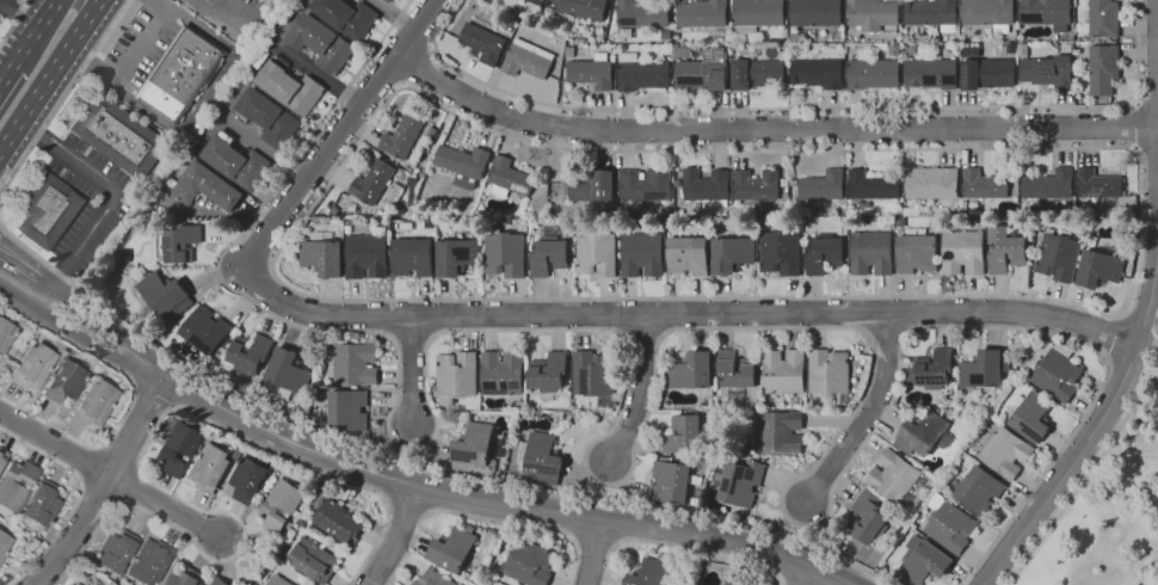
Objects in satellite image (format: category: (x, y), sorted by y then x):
building: (388, 0)
road: (8, 2)
building: (530, 5)
parking lot: (6, 8)
building: (583, 8)
road: (19, 11)
building: (643, 13)
building: (703, 13)
building: (815, 13)
building: (873, 13)
building: (988, 13)
building: (1046, 13)
building: (757, 14)
building: (934, 14)
road: (394, 16)
building: (347, 17)
building: (1103, 18)
building: (452, 20)
road: (13, 21)
road: (37, 25)
building: (677, 35)
building: (795, 36)
building: (321, 43)
building: (483, 43)
building: (895, 49)
building: (1023, 49)
building: (571, 50)
building: (677, 50)
building: (528, 59)
road: (127, 61)
road: (418, 66)
building: (1103, 68)
building: (591, 70)
building: (1047, 70)
building: (704, 72)
building: (987, 72)
road: (6, 73)
building: (181, 73)
building: (642, 73)
building: (758, 73)
building: (818, 73)
building: (874, 73)
building: (931, 73)
road: (319, 74)
road: (50, 79)
building: (290, 86)
road: (205, 91)
road: (64, 97)
road: (1146, 103)
road: (800, 106)
building: (269, 118)
road: (1134, 128)
building: (426, 129)
road: (769, 129)
road: (339, 135)
building: (119, 136)
building: (405, 140)
road: (266, 147)
road: (1146, 152)
building: (235, 161)
building: (463, 164)
building: (509, 178)
building: (794, 181)
building: (677, 183)
building: (784, 183)
building: (932, 183)
building: (375, 184)
building: (984, 184)
building: (1048, 184)
building: (1098, 184)
building: (756, 185)
building: (823, 185)
building: (871, 185)
building: (645, 186)
building: (207, 187)
building: (591, 187)
building: (707, 187)
road: (112, 197)
building: (1127, 198)
building: (49, 210)
building: (333, 210)
building: (362, 215)
building: (349, 229)
building: (177, 244)
building: (1006, 248)
building: (550, 252)
building: (780, 252)
building: (871, 252)
building: (963, 252)
building: (824, 253)
building: (917, 253)
building: (322, 254)
building: (367, 254)
building: (505, 254)
building: (596, 254)
building: (642, 254)
building: (732, 254)
building: (412, 255)
building: (688, 255)
building: (457, 257)
building: (1058, 257)
building: (1101, 266)
road: (17, 282)
building: (162, 295)
road: (1033, 298)
road: (682, 315)
building: (205, 330)
building: (6, 334)
building: (247, 356)
road: (1152, 361)
building: (356, 364)
building: (35, 367)
building: (984, 368)
building: (934, 369)
building: (288, 370)
building: (692, 370)
road: (411, 371)
building: (783, 371)
building: (548, 372)
building: (829, 372)
building: (1058, 372)
building: (457, 374)
building: (501, 374)
building: (593, 374)
building: (738, 380)
road: (1152, 380)
building: (66, 382)
road: (639, 392)
road: (154, 393)
road: (134, 398)
building: (592, 400)
building: (96, 404)
building: (347, 410)
road: (867, 415)
building: (1033, 417)
road: (643, 421)
building: (780, 431)
building: (688, 432)
road: (1088, 432)
building: (922, 433)
road: (54, 442)
building: (180, 447)
road: (1128, 447)
building: (474, 450)
building: (1005, 452)
road: (405, 455)
building: (2, 456)
building: (541, 457)
road: (138, 464)
road: (417, 467)
building: (210, 468)
building: (894, 478)
building: (248, 480)
building: (672, 480)
building: (741, 482)
building: (17, 484)
road: (1082, 484)
road: (101, 487)
road: (420, 487)
building: (978, 488)
road: (600, 491)
road: (80, 497)
road: (384, 499)
park: (1105, 503)
road: (406, 504)
building: (42, 505)
building: (281, 505)
building: (916, 506)
road: (167, 510)
road: (427, 512)
road: (483, 517)
building: (868, 517)
building: (337, 521)
building: (302, 523)
building: (949, 524)
road: (793, 531)
road: (395, 537)
road: (572, 537)
road: (593, 540)
road: (616, 543)
building: (5, 544)
road: (682, 547)
building: (879, 547)
building: (454, 548)
building: (116, 550)
road: (592, 550)
building: (344, 552)
building: (279, 555)
building: (313, 559)
building: (924, 560)
building: (150, 561)
building: (528, 562)
building: (652, 572)
road: (780, 575)
road: (807, 577)
building: (184, 578)
building: (436, 578)
building: (740, 578)
building: (278, 580)
road: (789, 580)
building: (92, 581)
building: (220, 581)
building: (417, 583)
building: (76, 584)
building: (721, 584)
building: (726, 584)

